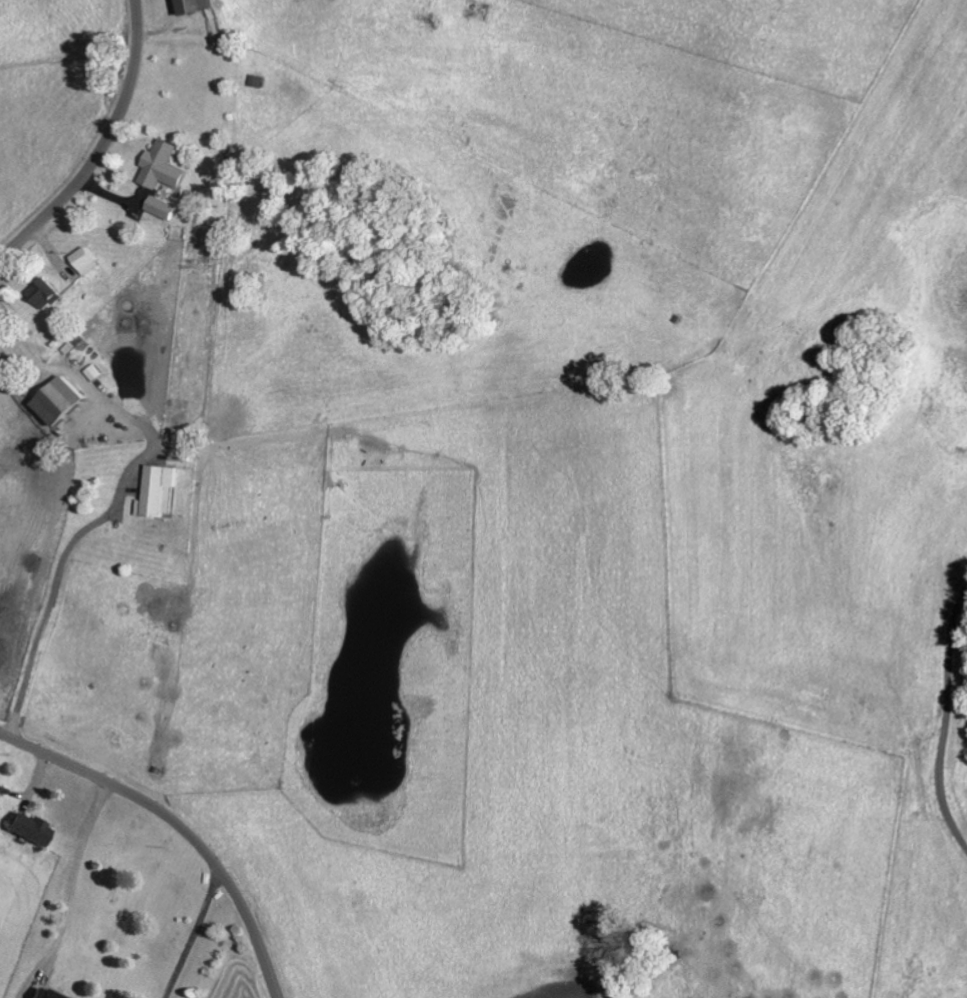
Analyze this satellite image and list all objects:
building: (198, 6)
road: (104, 147)
building: (164, 165)
building: (163, 206)
building: (88, 259)
building: (47, 292)
building: (62, 400)
building: (160, 491)
road: (945, 720)
road: (179, 826)
building: (31, 827)
road: (75, 877)
road: (195, 934)
building: (46, 993)

